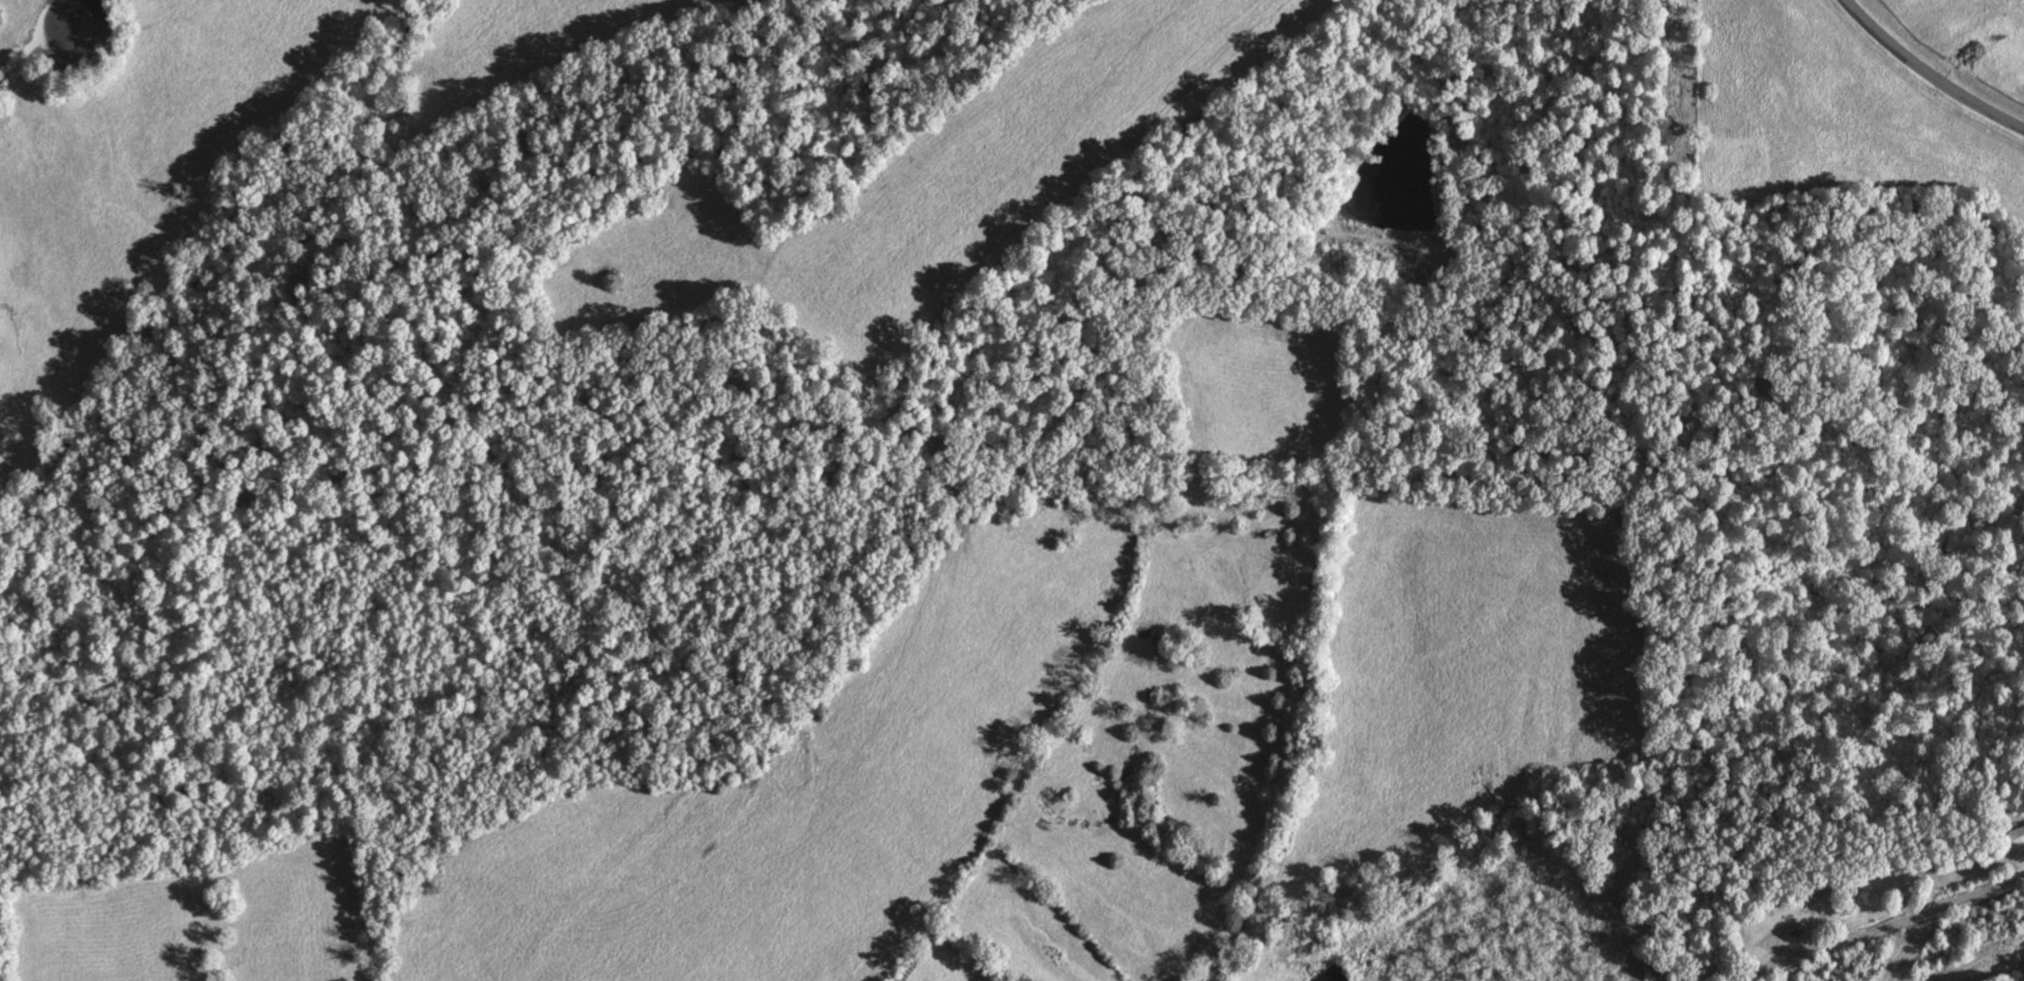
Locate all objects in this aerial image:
road: (1923, 77)
building: (2016, 831)
road: (1883, 926)

